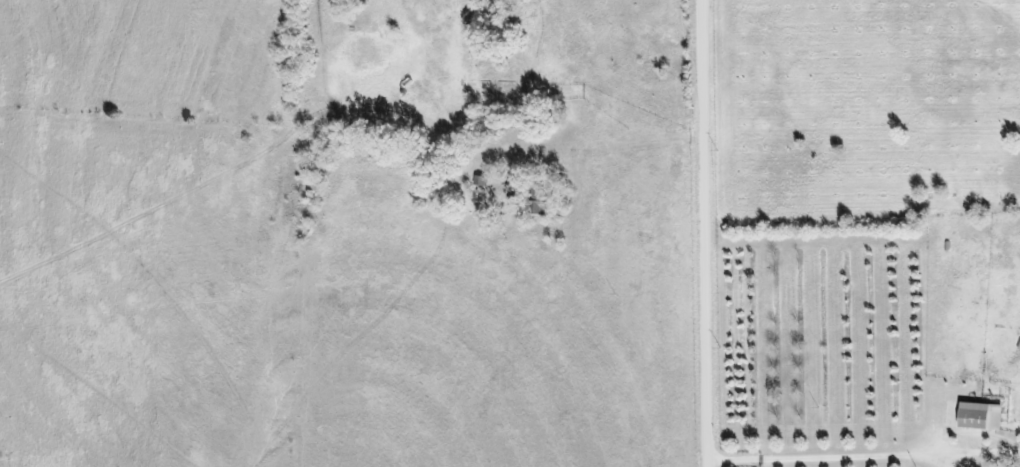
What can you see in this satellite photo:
road: (708, 233)
building: (952, 414)
building: (980, 416)
road: (866, 458)

